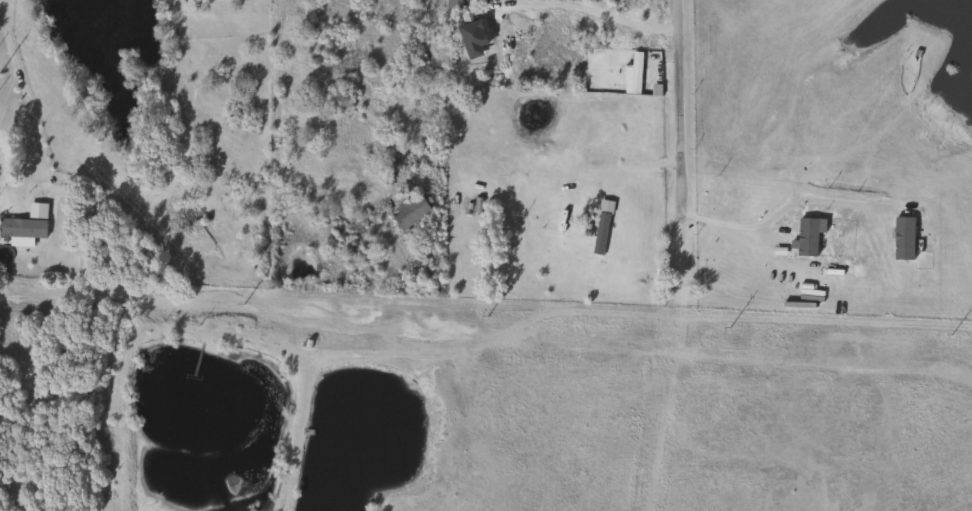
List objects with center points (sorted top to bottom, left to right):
road: (585, 11)
building: (632, 73)
road: (17, 78)
road: (675, 103)
building: (236, 122)
road: (822, 201)
building: (407, 211)
road: (720, 222)
building: (23, 225)
power tower: (245, 305)
power tower: (488, 316)
power tower: (731, 328)
power tower: (951, 335)

